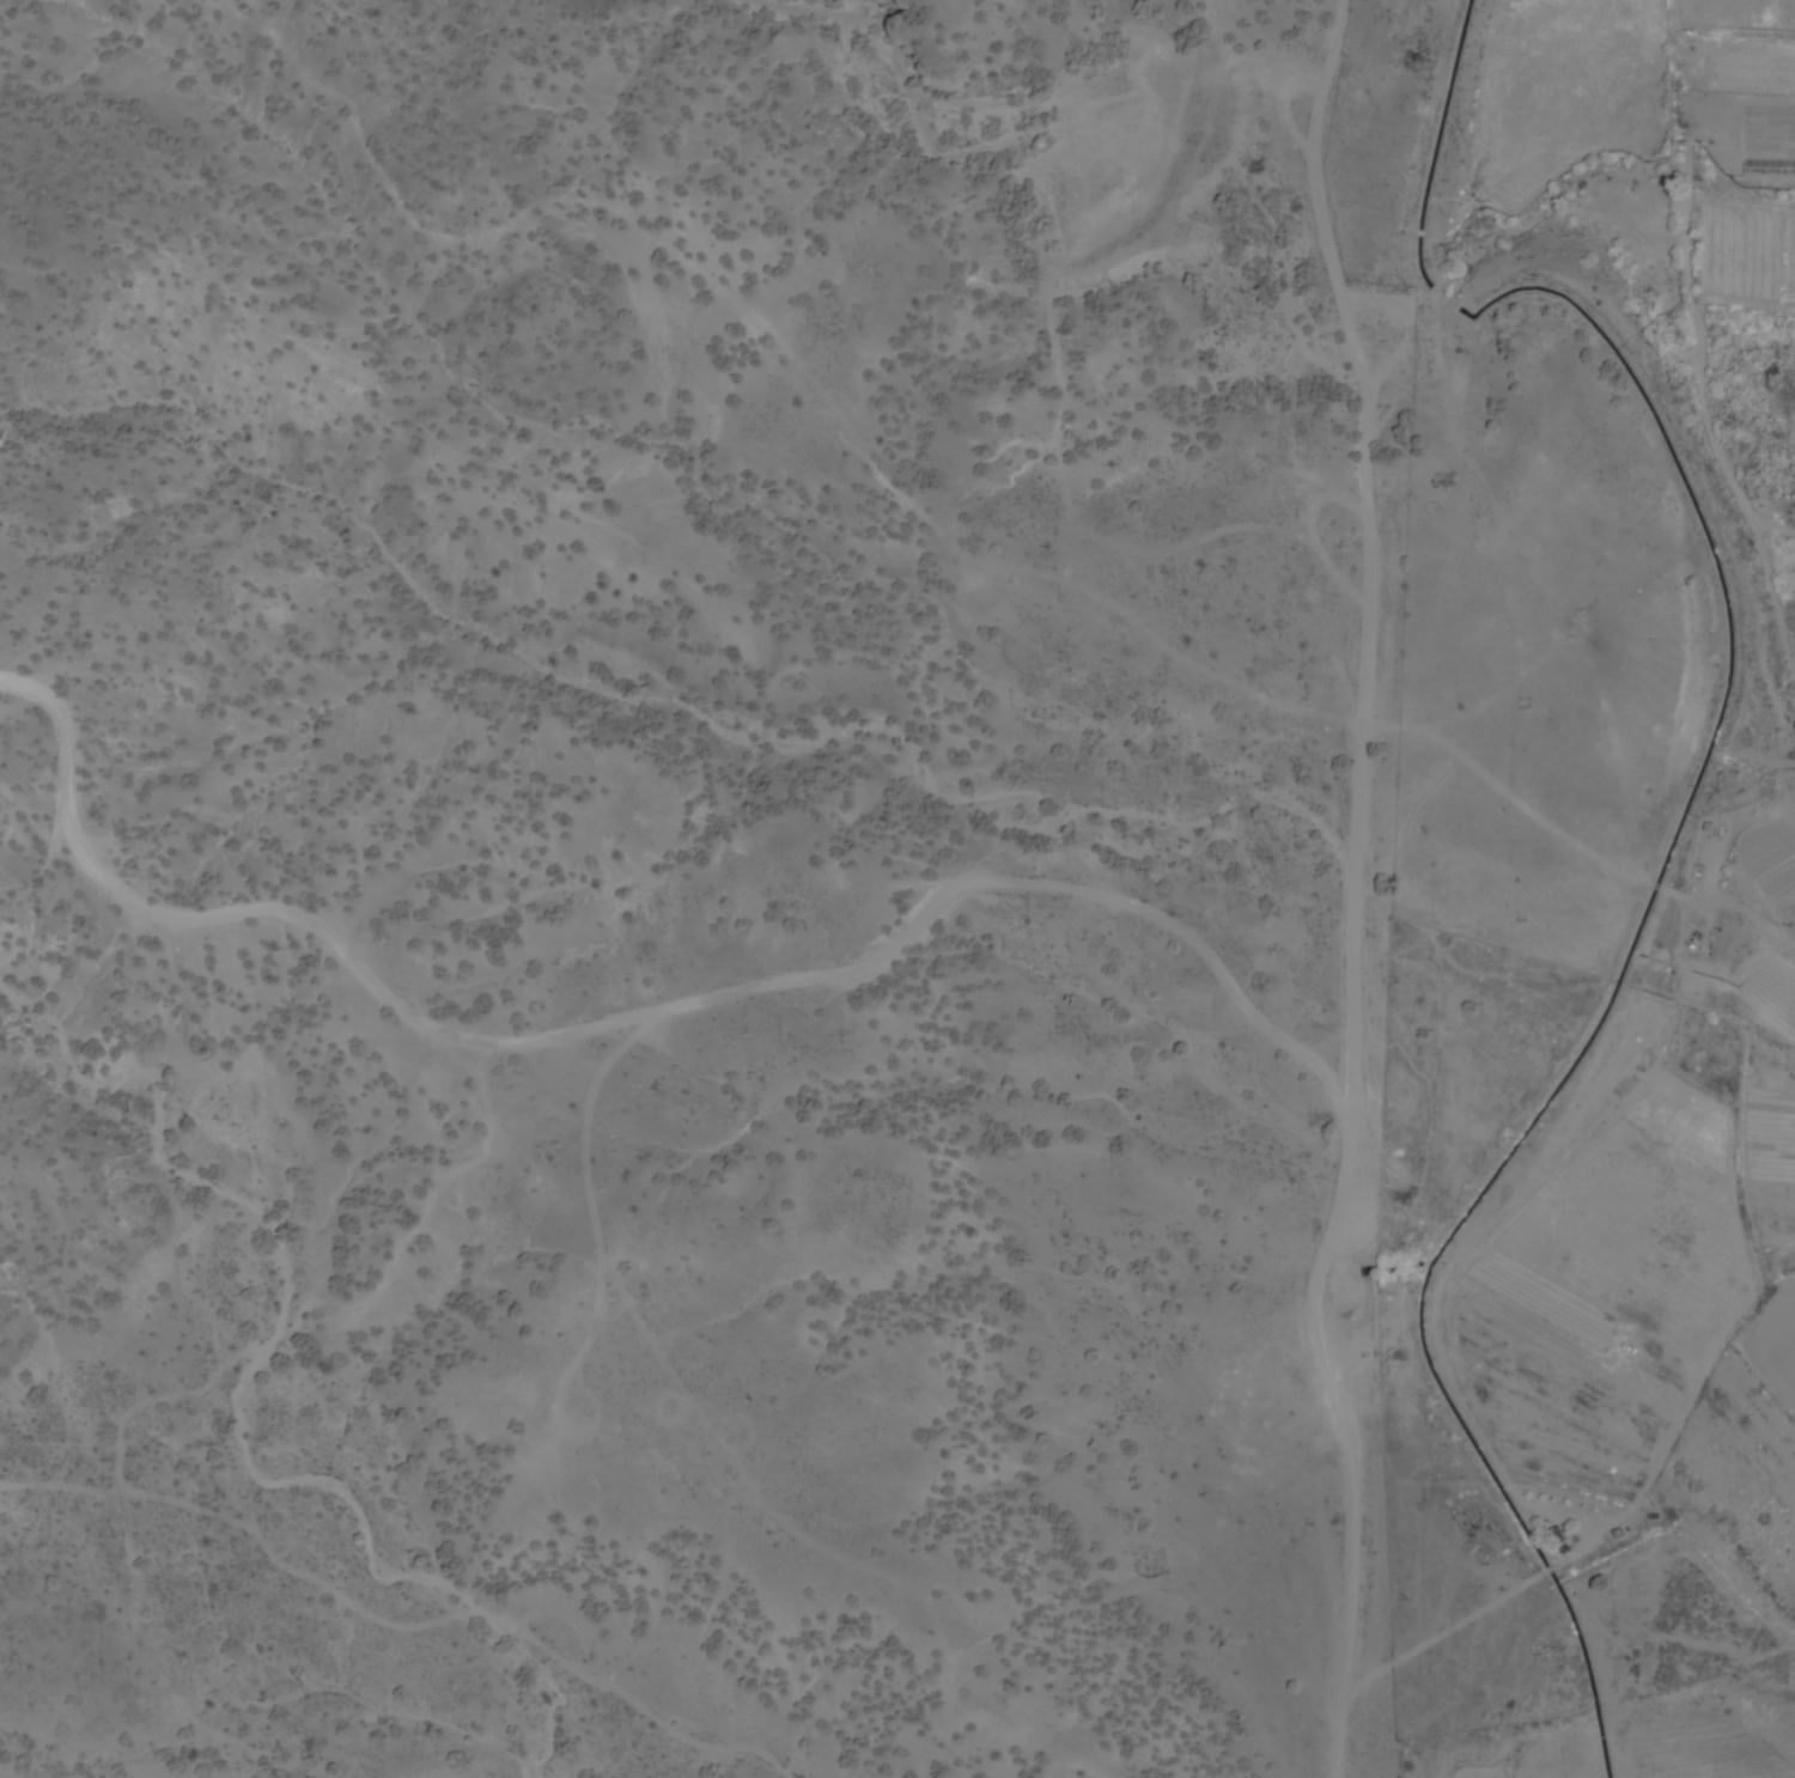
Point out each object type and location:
road: (1726, 397)
road: (1364, 885)

